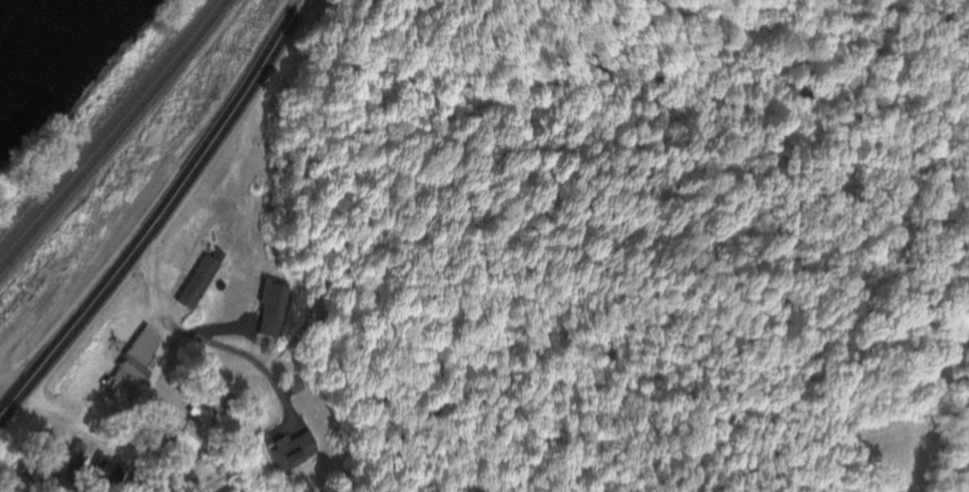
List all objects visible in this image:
railway: (109, 125)
railway: (115, 134)
road: (161, 210)
park: (191, 237)
road: (123, 335)
road: (8, 387)
road: (110, 436)

